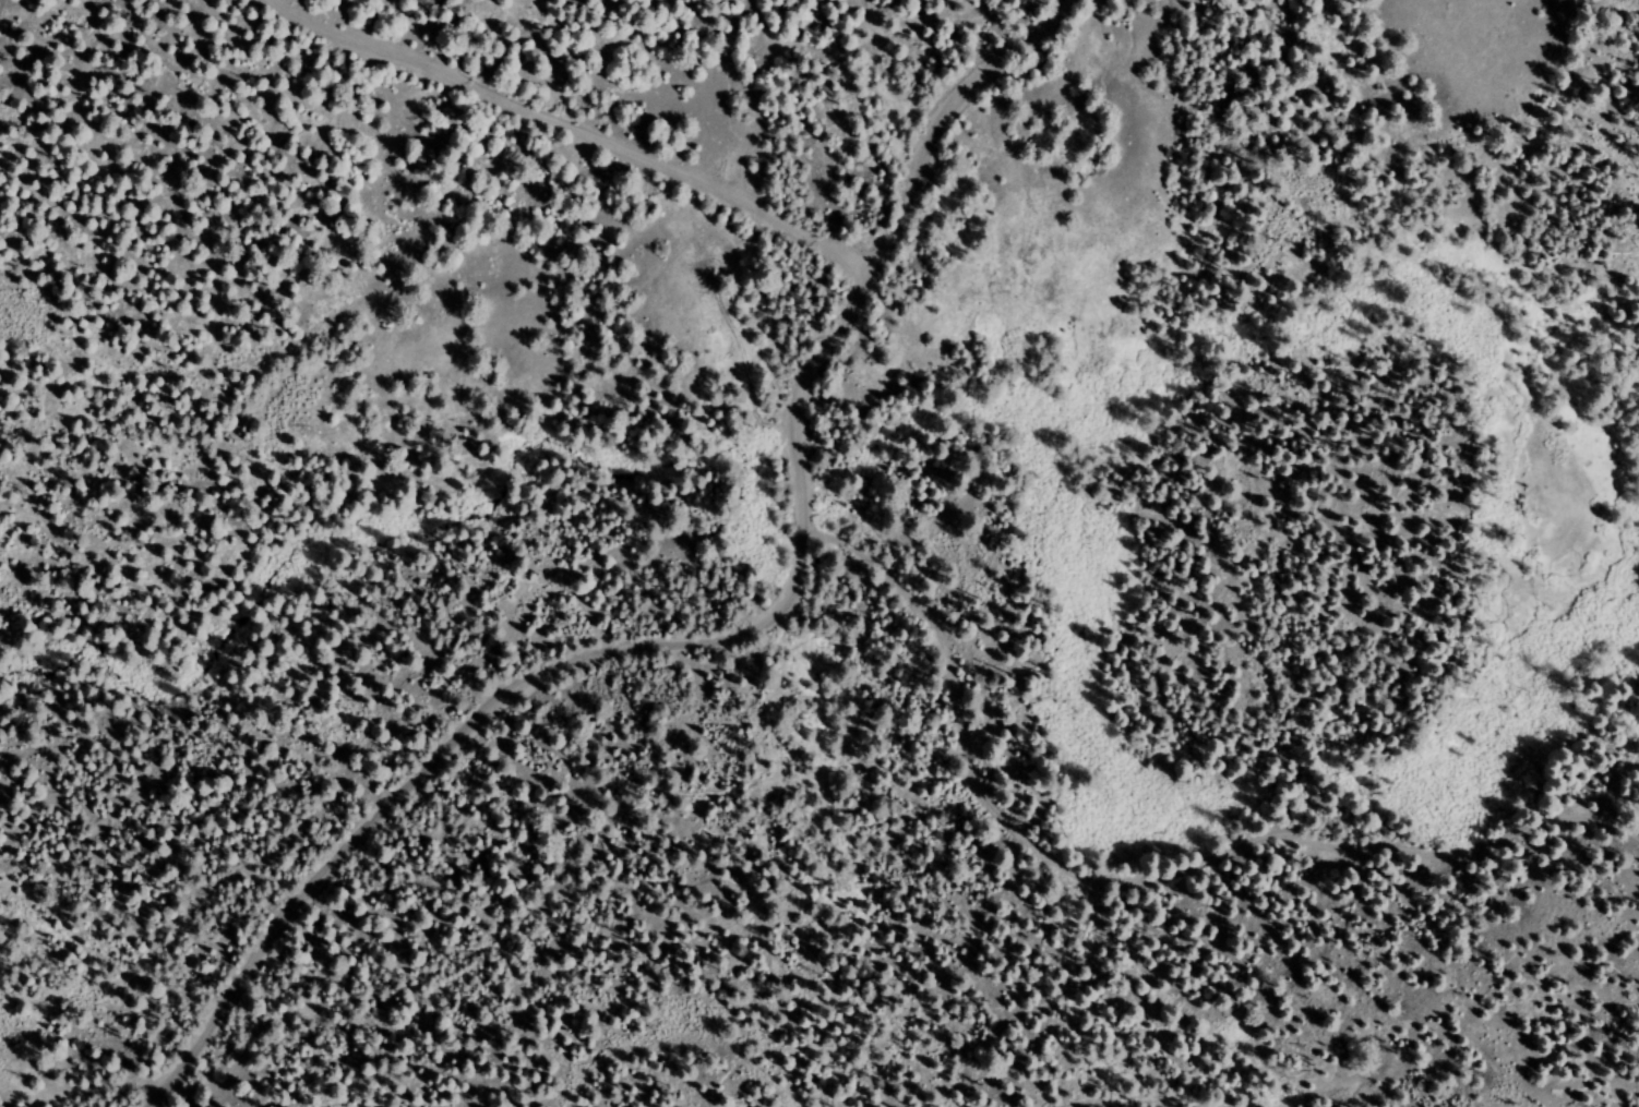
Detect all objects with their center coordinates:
road: (574, 130)
road: (719, 637)
road: (1133, 882)

